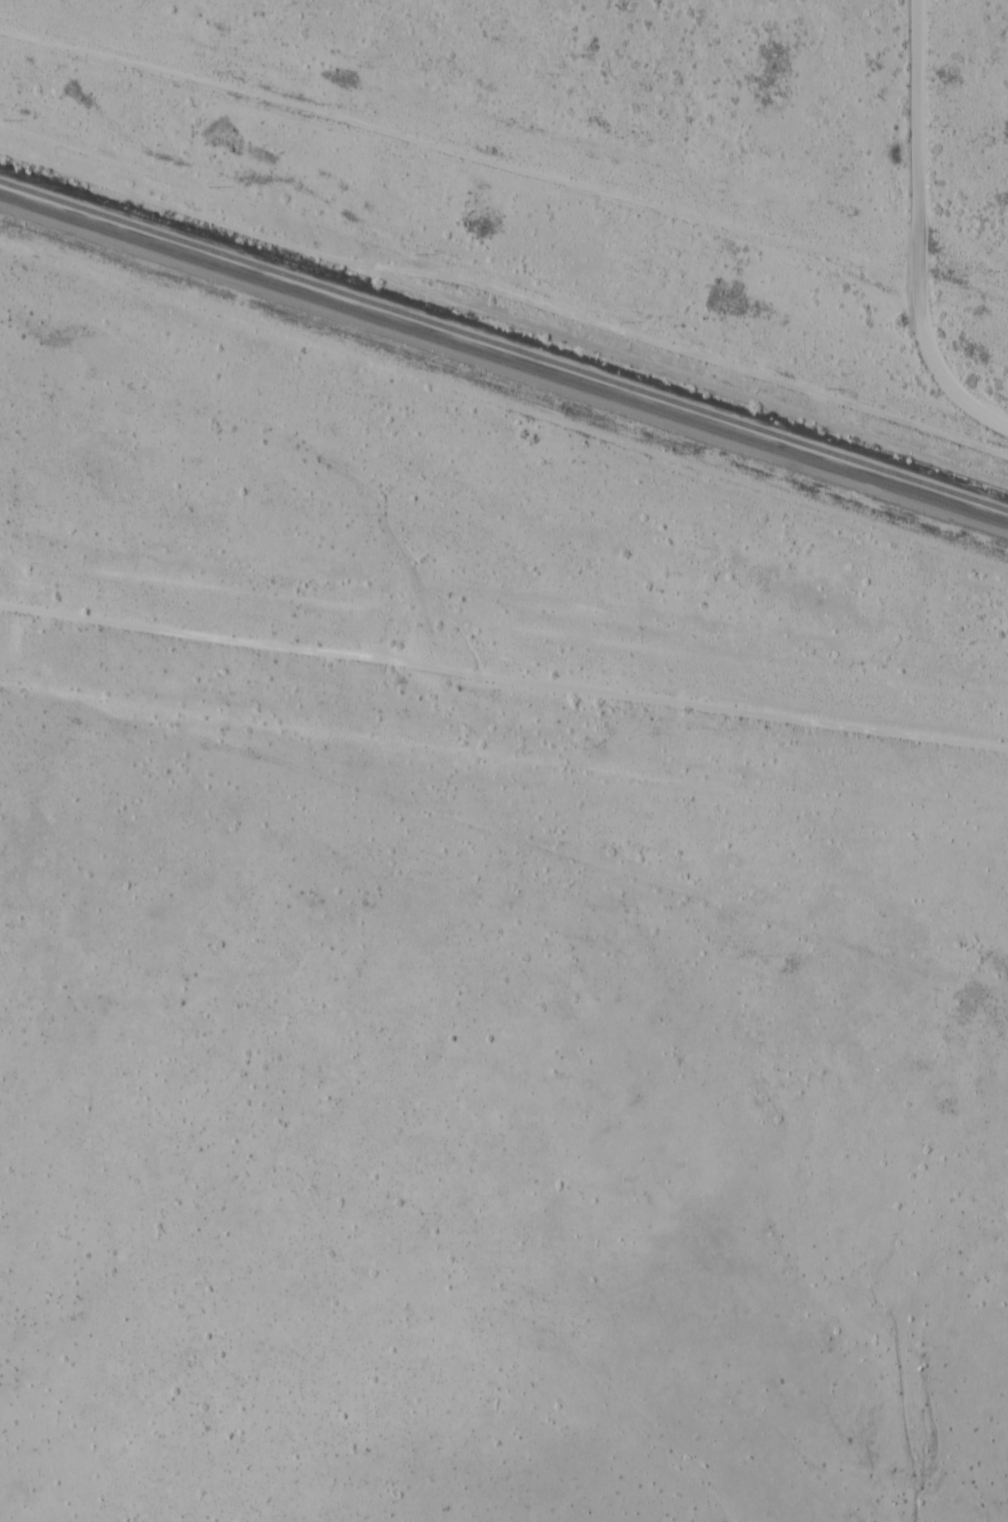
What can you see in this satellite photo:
road: (913, 221)
road: (503, 289)
railway: (503, 347)
railway: (503, 359)
road: (997, 425)
road: (504, 471)
road: (504, 704)

